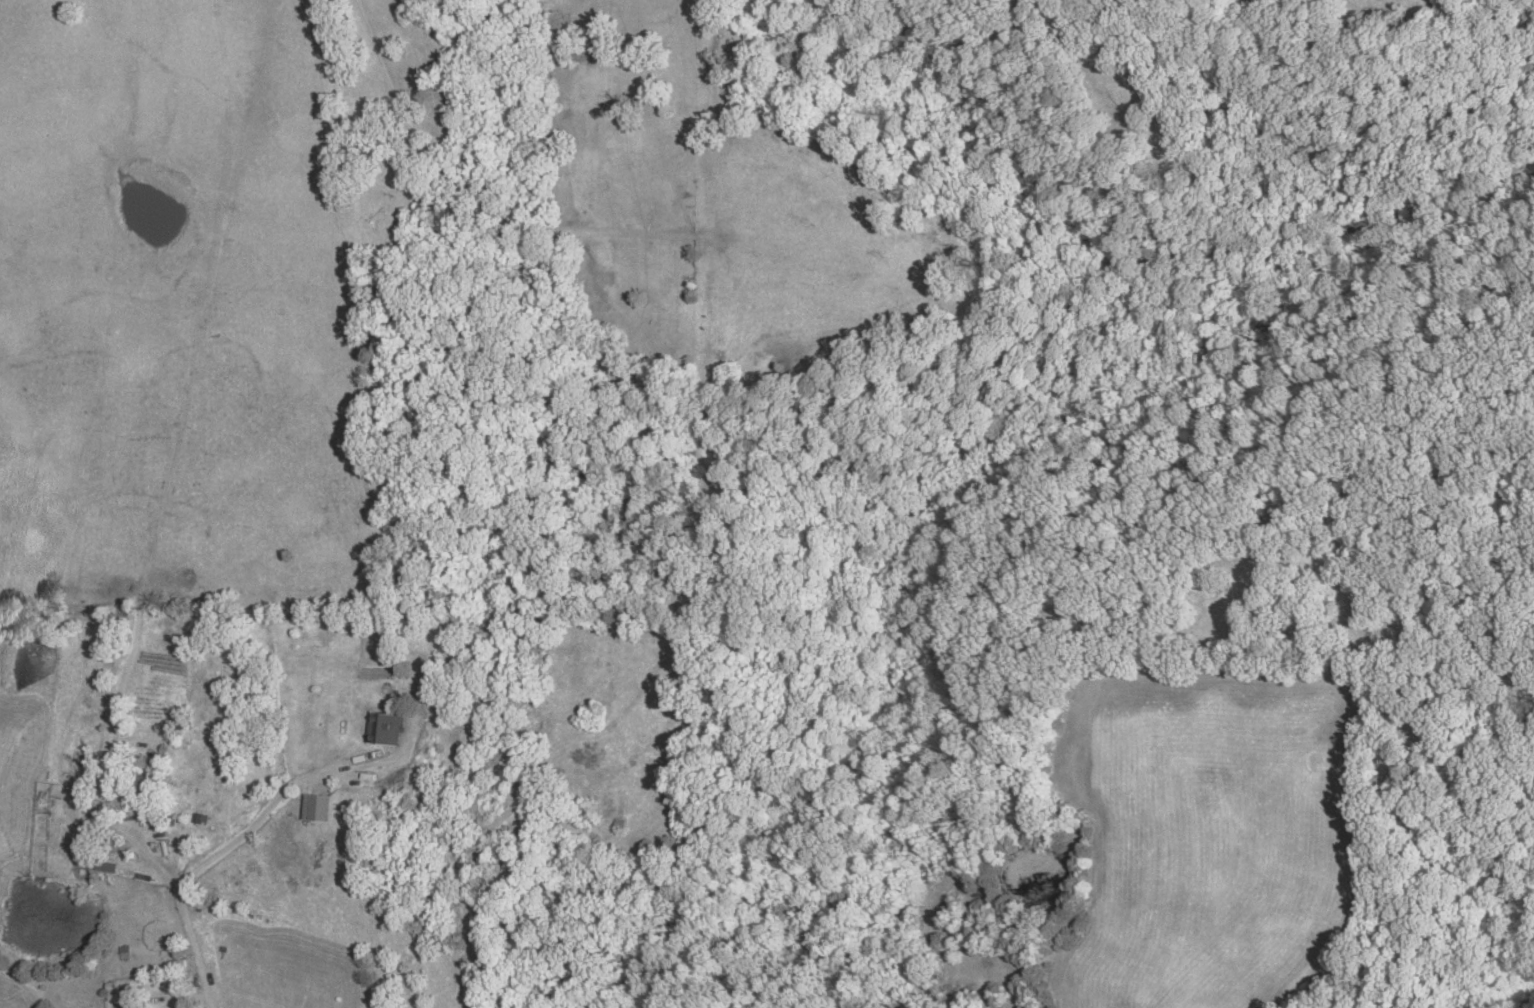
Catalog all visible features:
building: (388, 728)
building: (142, 785)
building: (318, 808)
building: (108, 854)
road: (192, 925)

